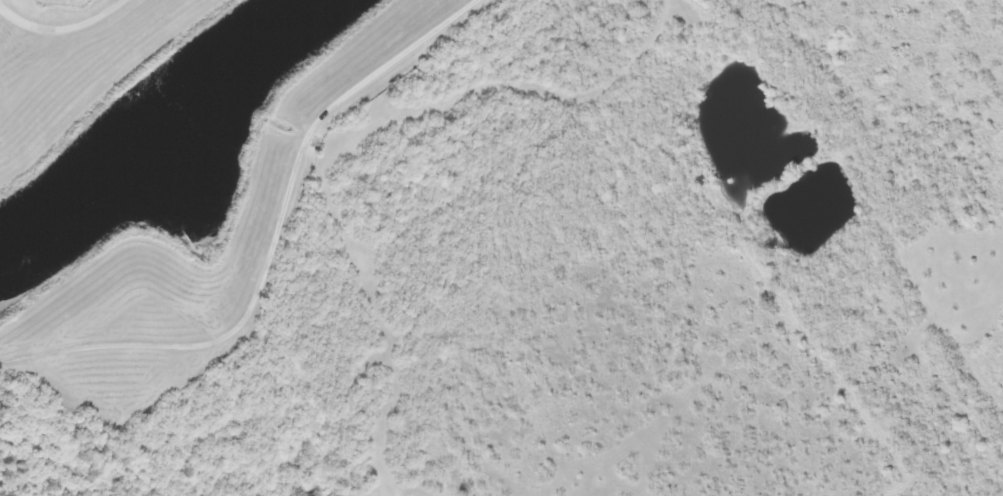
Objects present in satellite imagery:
road: (64, 28)
road: (271, 247)

